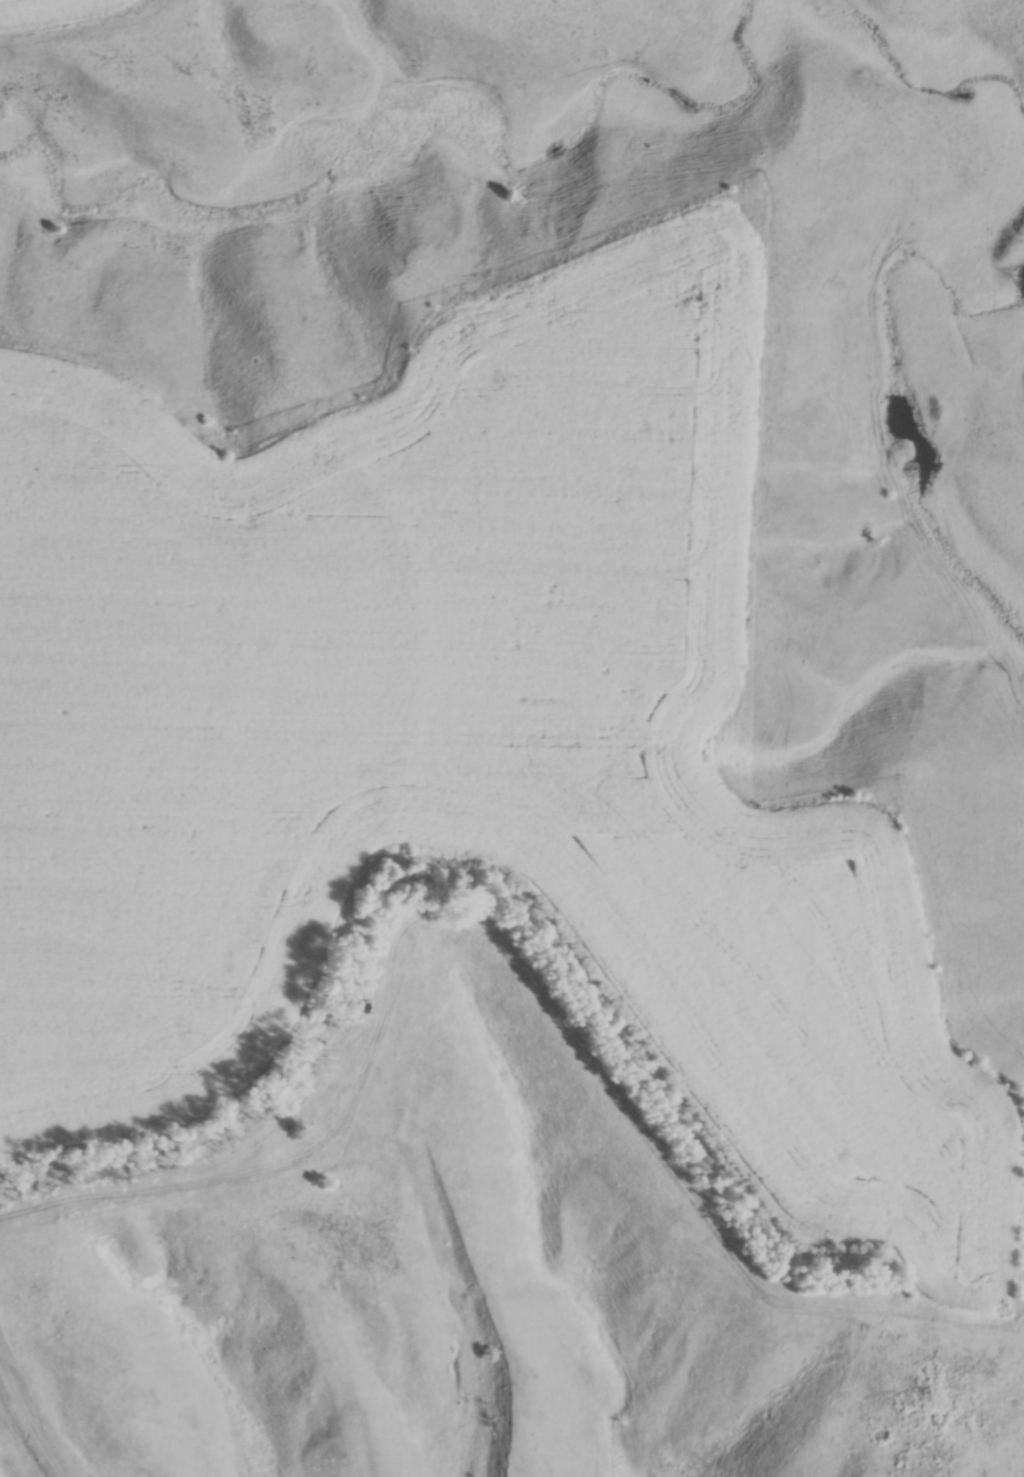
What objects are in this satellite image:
road: (29, 1412)

